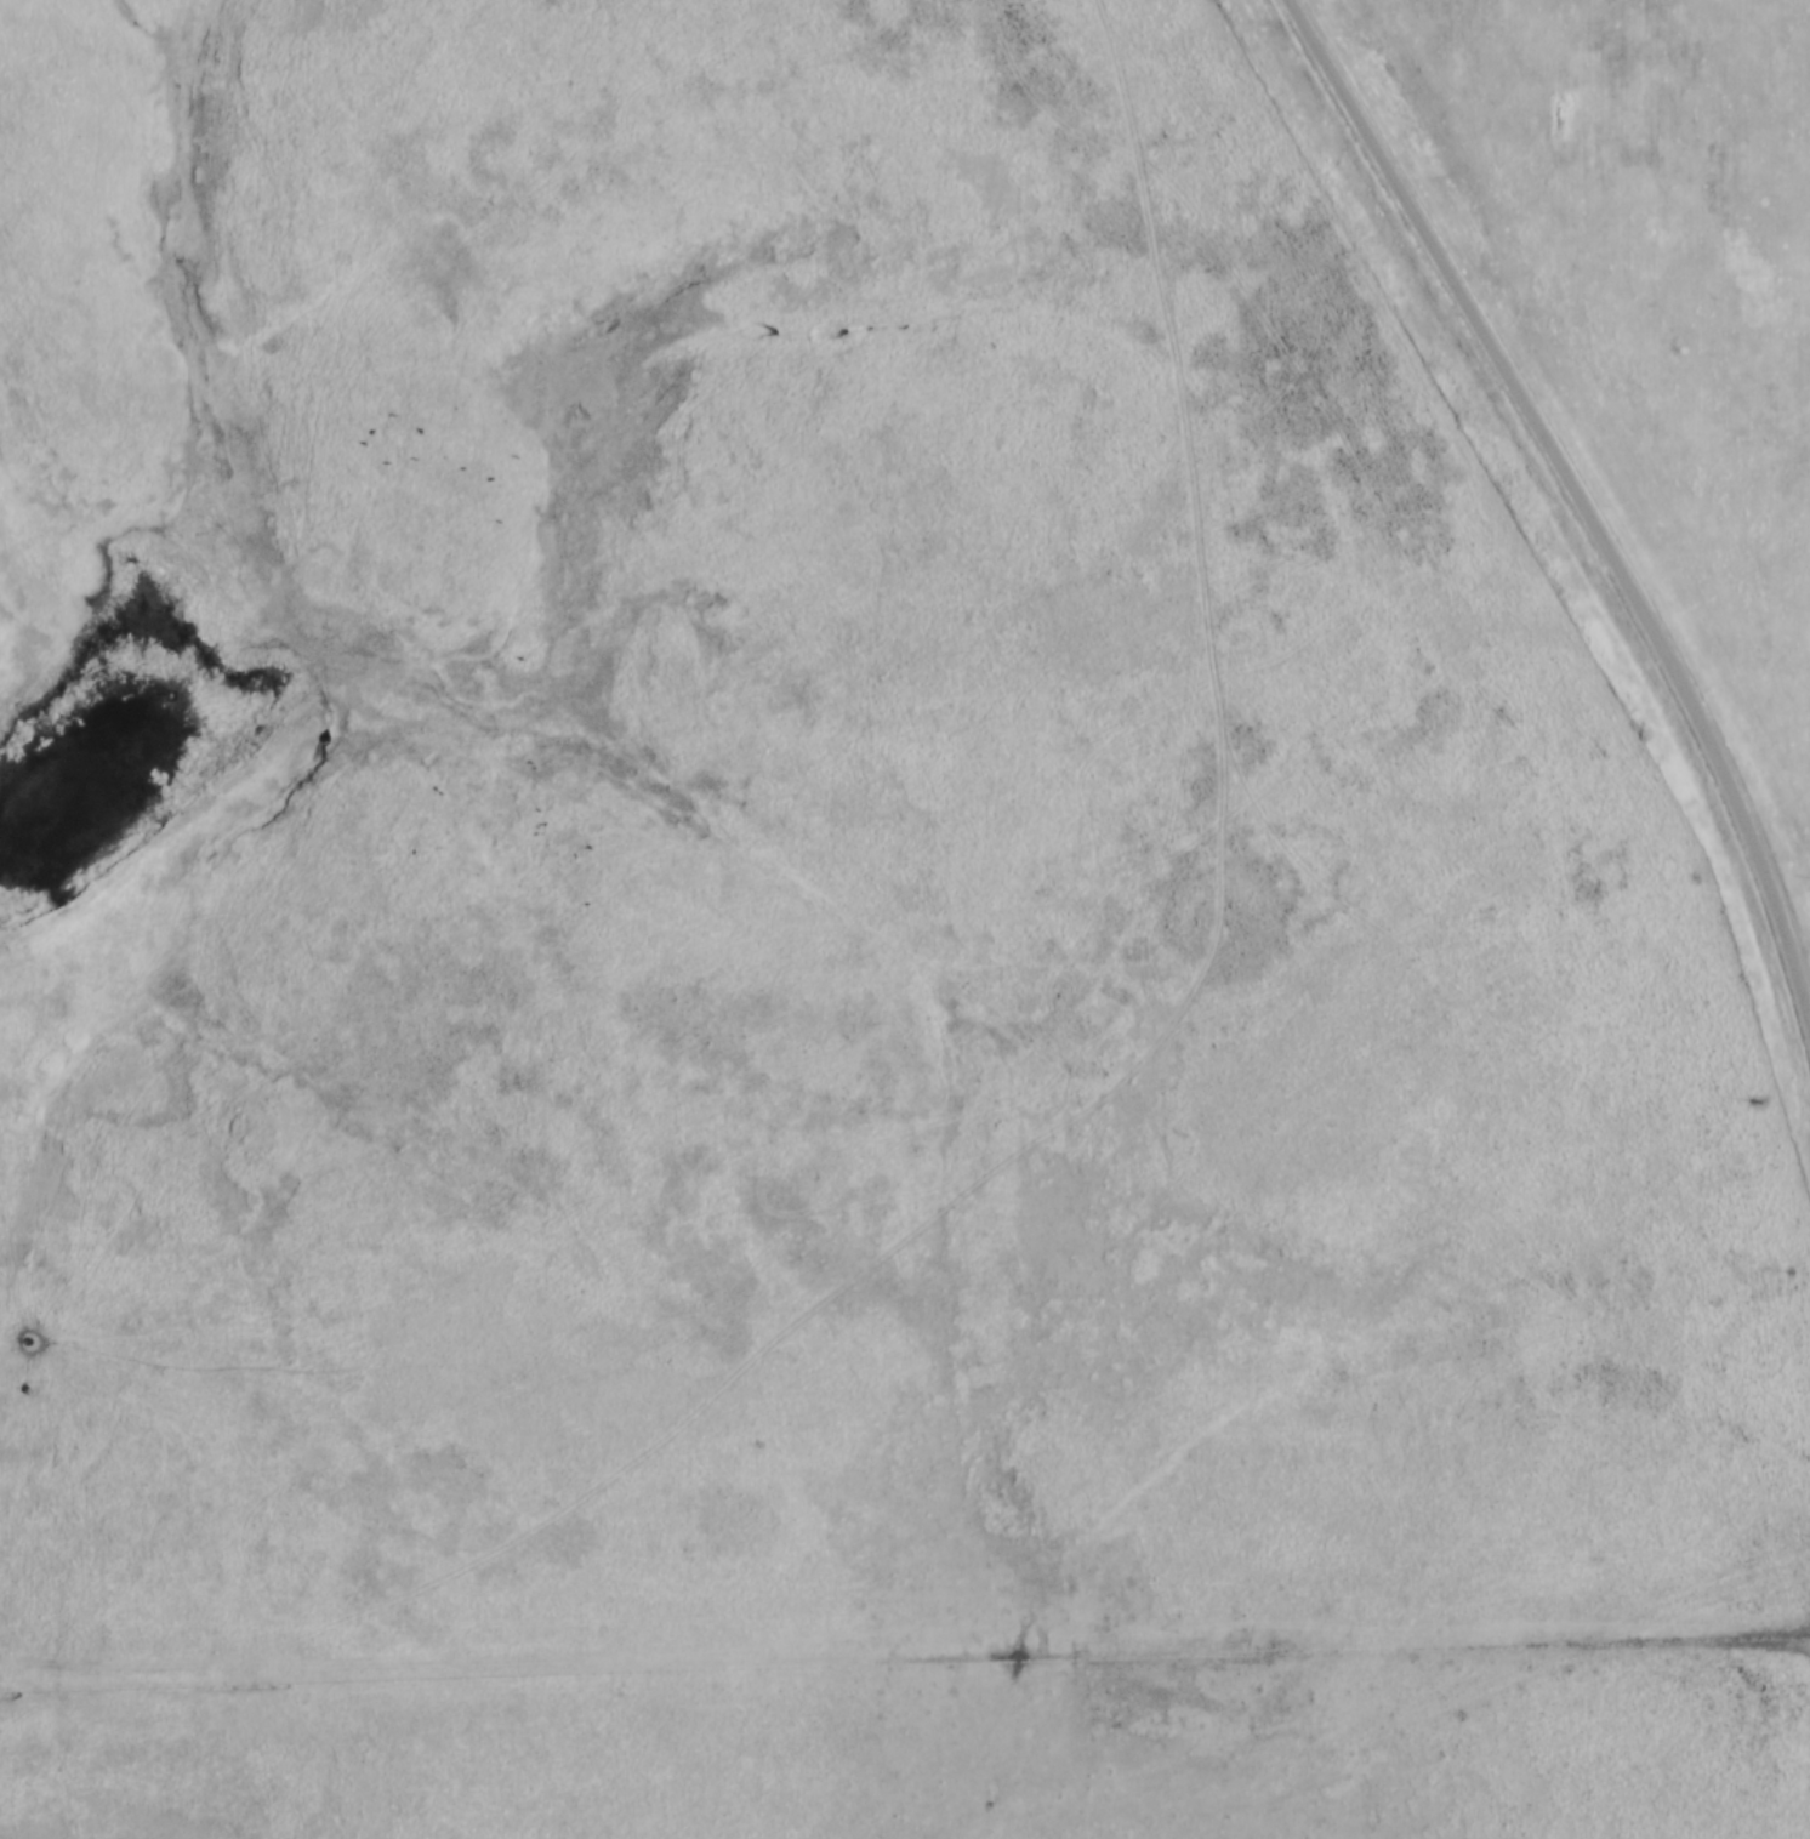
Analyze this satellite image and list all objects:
road: (1576, 493)

